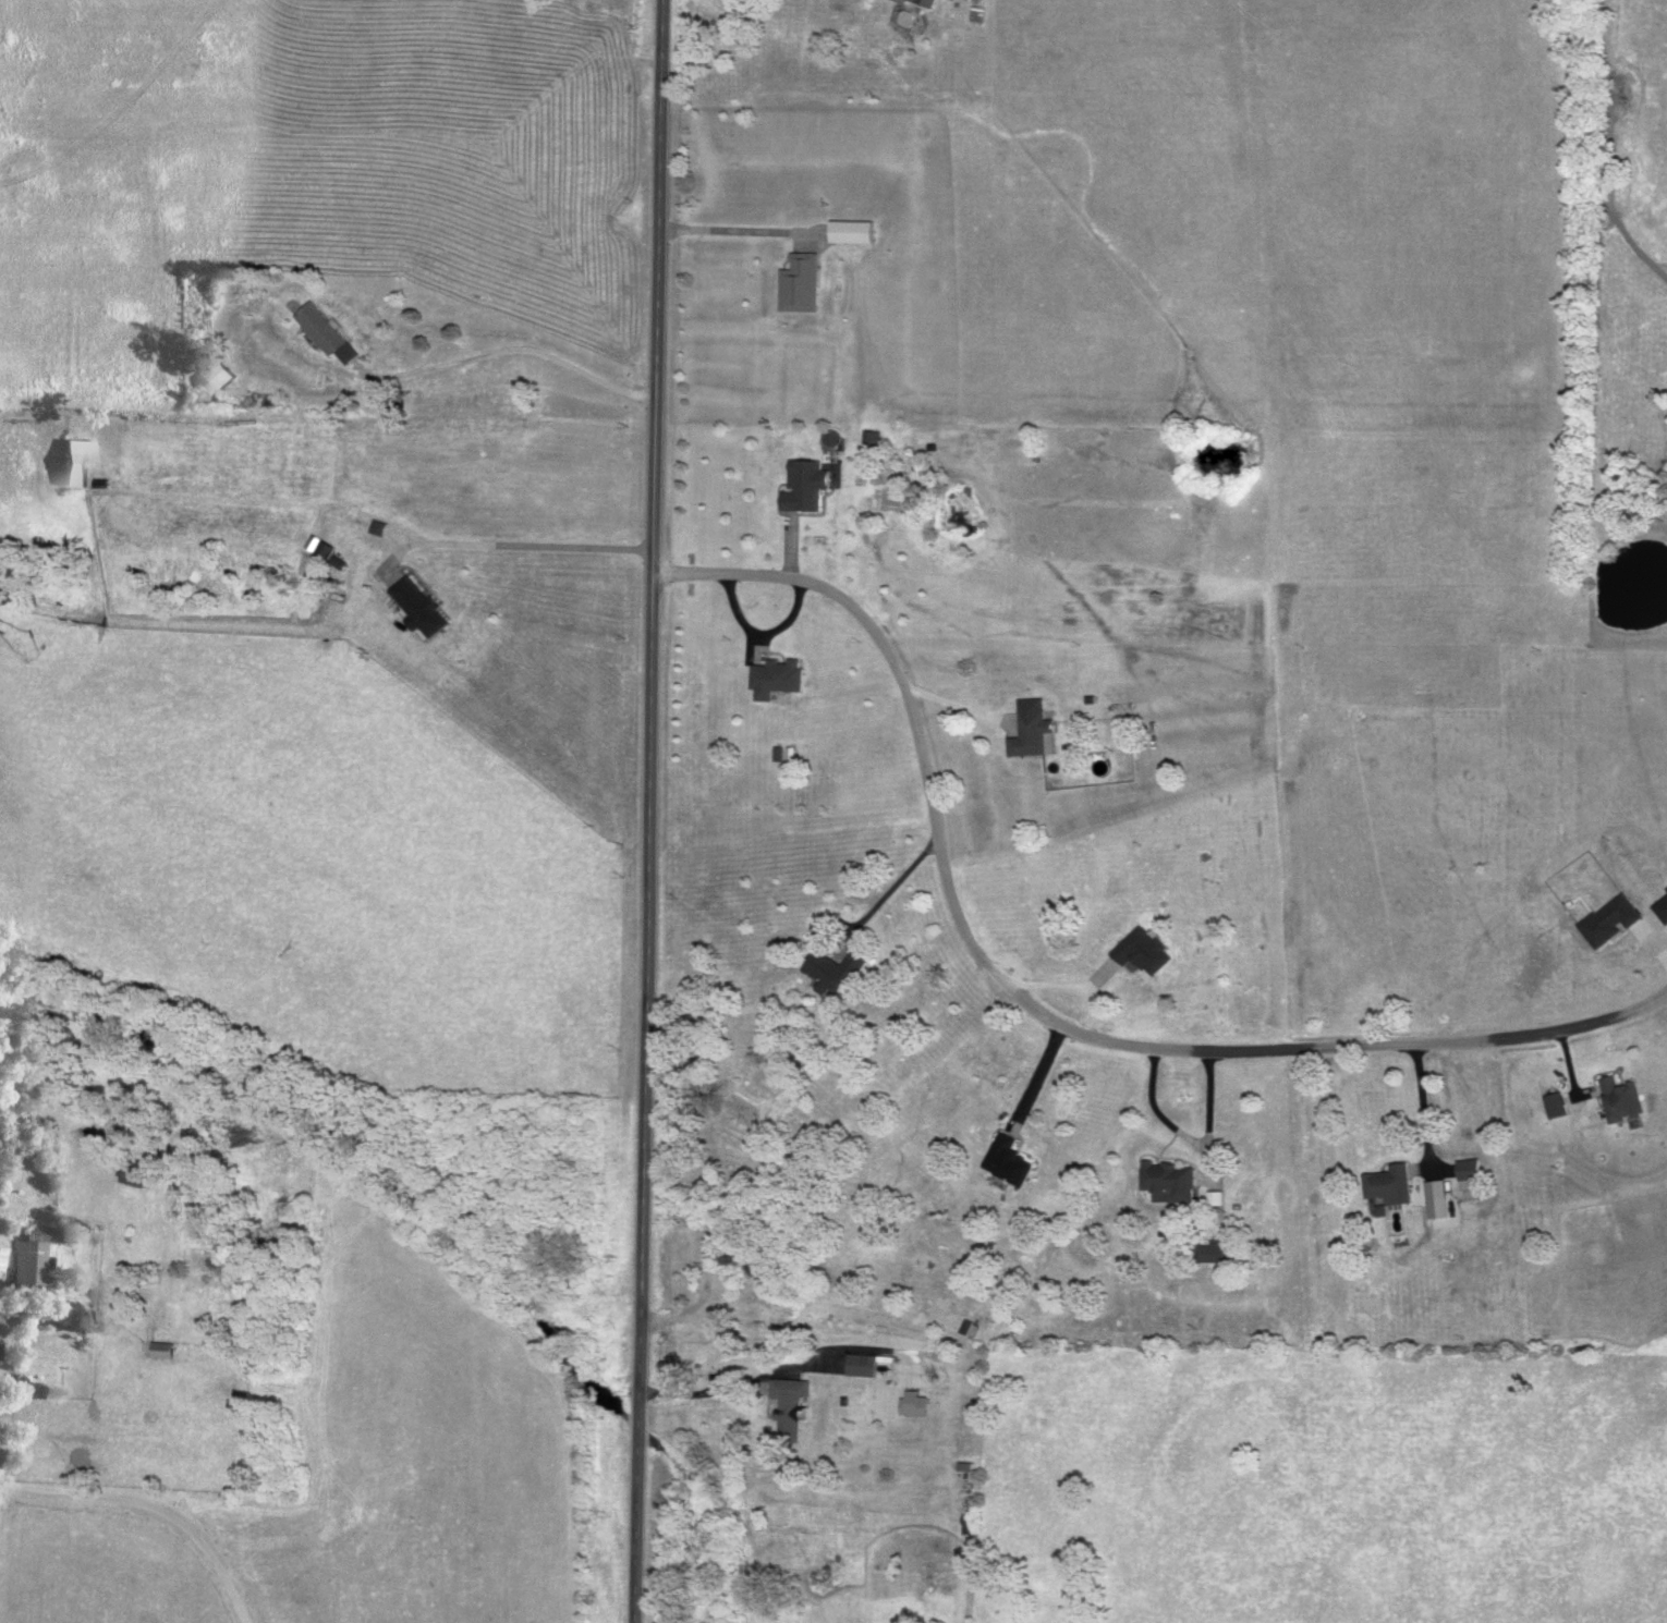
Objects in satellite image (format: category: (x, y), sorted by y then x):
building: (921, 2)
road: (737, 230)
building: (320, 334)
road: (504, 352)
building: (211, 379)
building: (801, 487)
building: (374, 528)
road: (515, 545)
building: (413, 607)
building: (772, 679)
road: (957, 708)
building: (1027, 735)
road: (644, 810)
road: (889, 889)
building: (1137, 953)
building: (829, 971)
road: (1029, 1008)
road: (1038, 1078)
building: (1616, 1101)
road: (1420, 1111)
road: (1190, 1142)
building: (1003, 1161)
building: (1464, 1171)
building: (131, 1175)
building: (1166, 1181)
building: (1384, 1186)
building: (1209, 1255)
building: (22, 1257)
building: (160, 1353)
building: (855, 1367)
road: (693, 1391)
road: (151, 1509)

